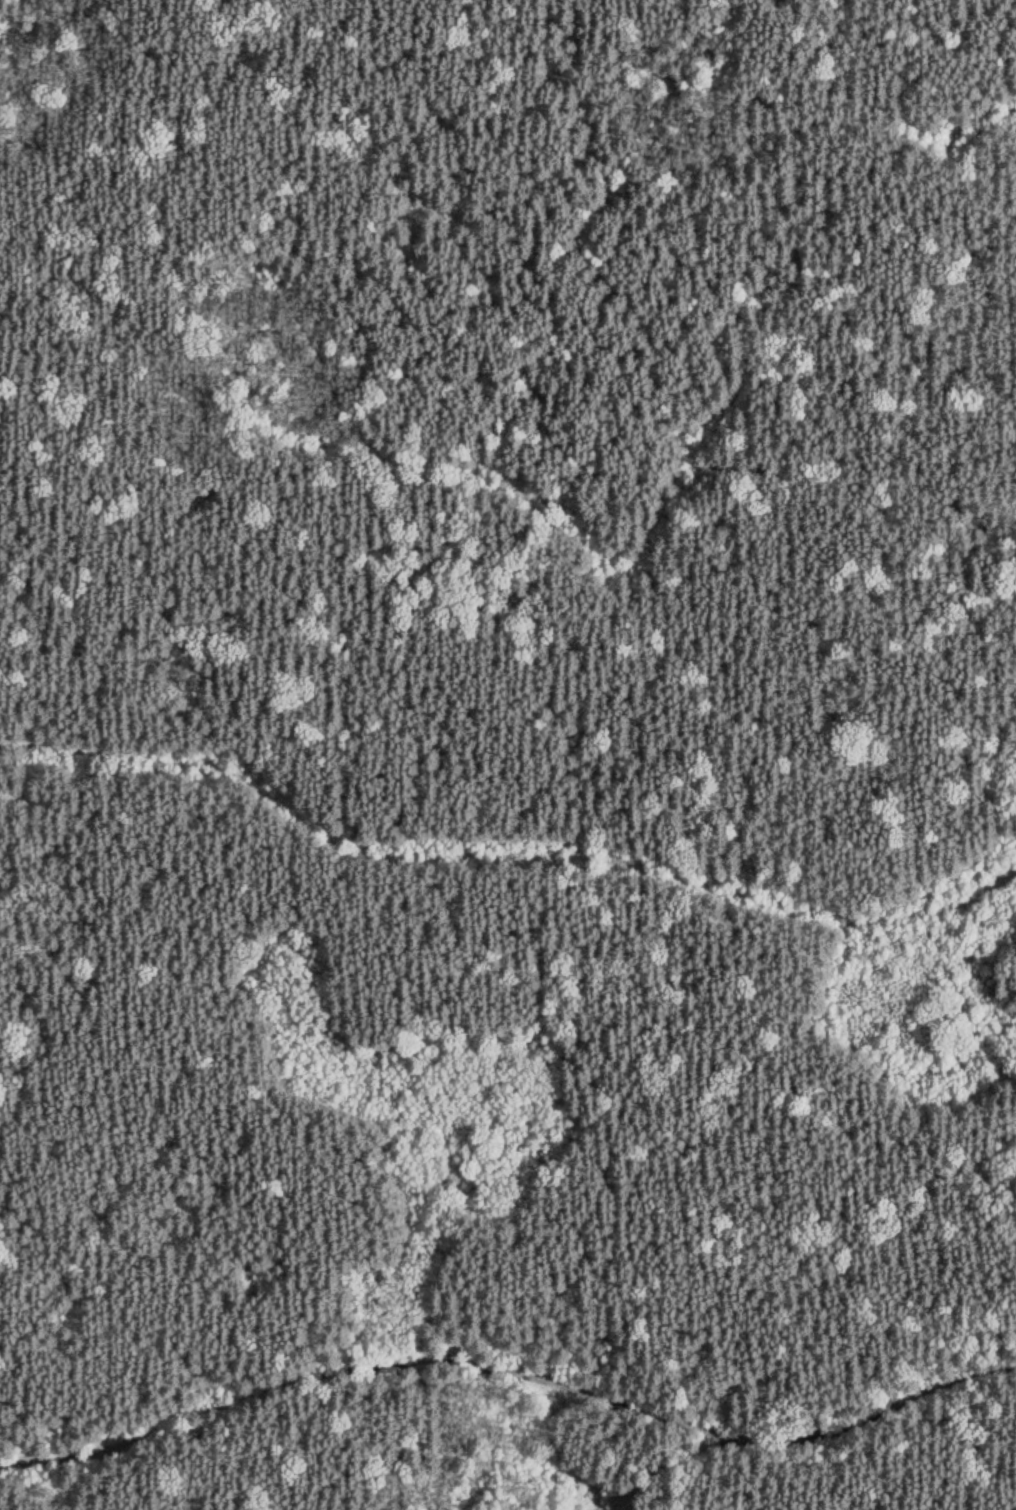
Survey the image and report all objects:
road: (509, 1375)

